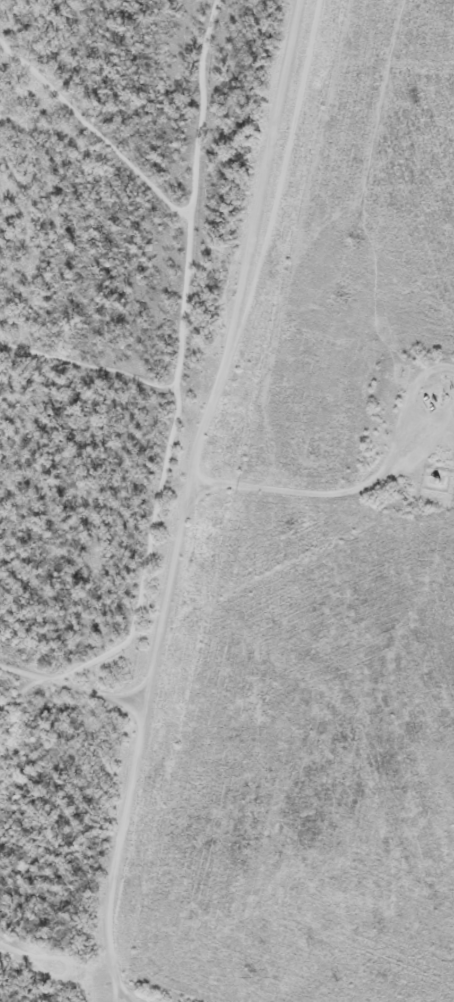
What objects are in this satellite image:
road: (185, 511)
road: (109, 990)

